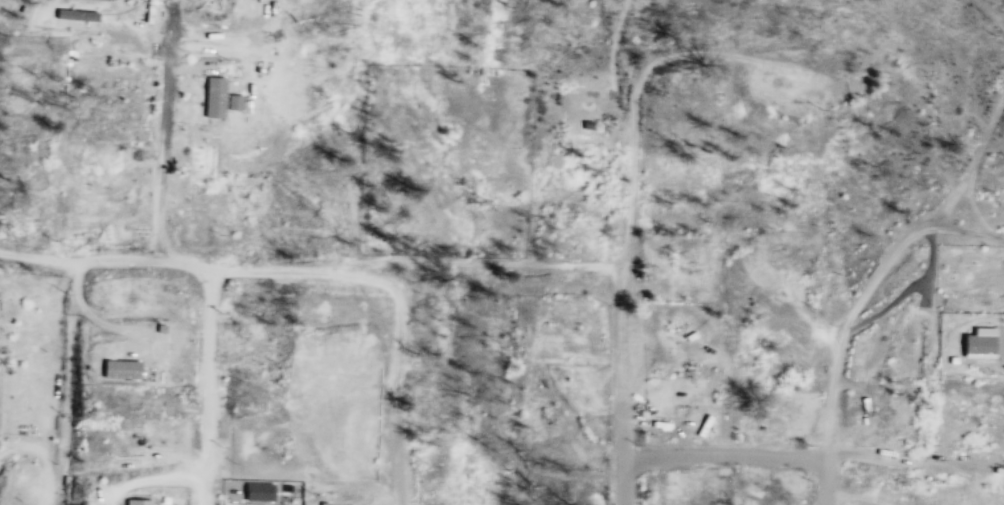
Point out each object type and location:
road: (990, 12)
road: (171, 14)
road: (612, 47)
road: (616, 112)
road: (162, 146)
road: (968, 168)
road: (631, 209)
road: (960, 229)
road: (312, 271)
road: (925, 272)
road: (885, 308)
road: (841, 331)
building: (117, 369)
road: (408, 384)
road: (214, 388)
road: (723, 459)
road: (903, 467)
road: (825, 480)
building: (257, 492)

